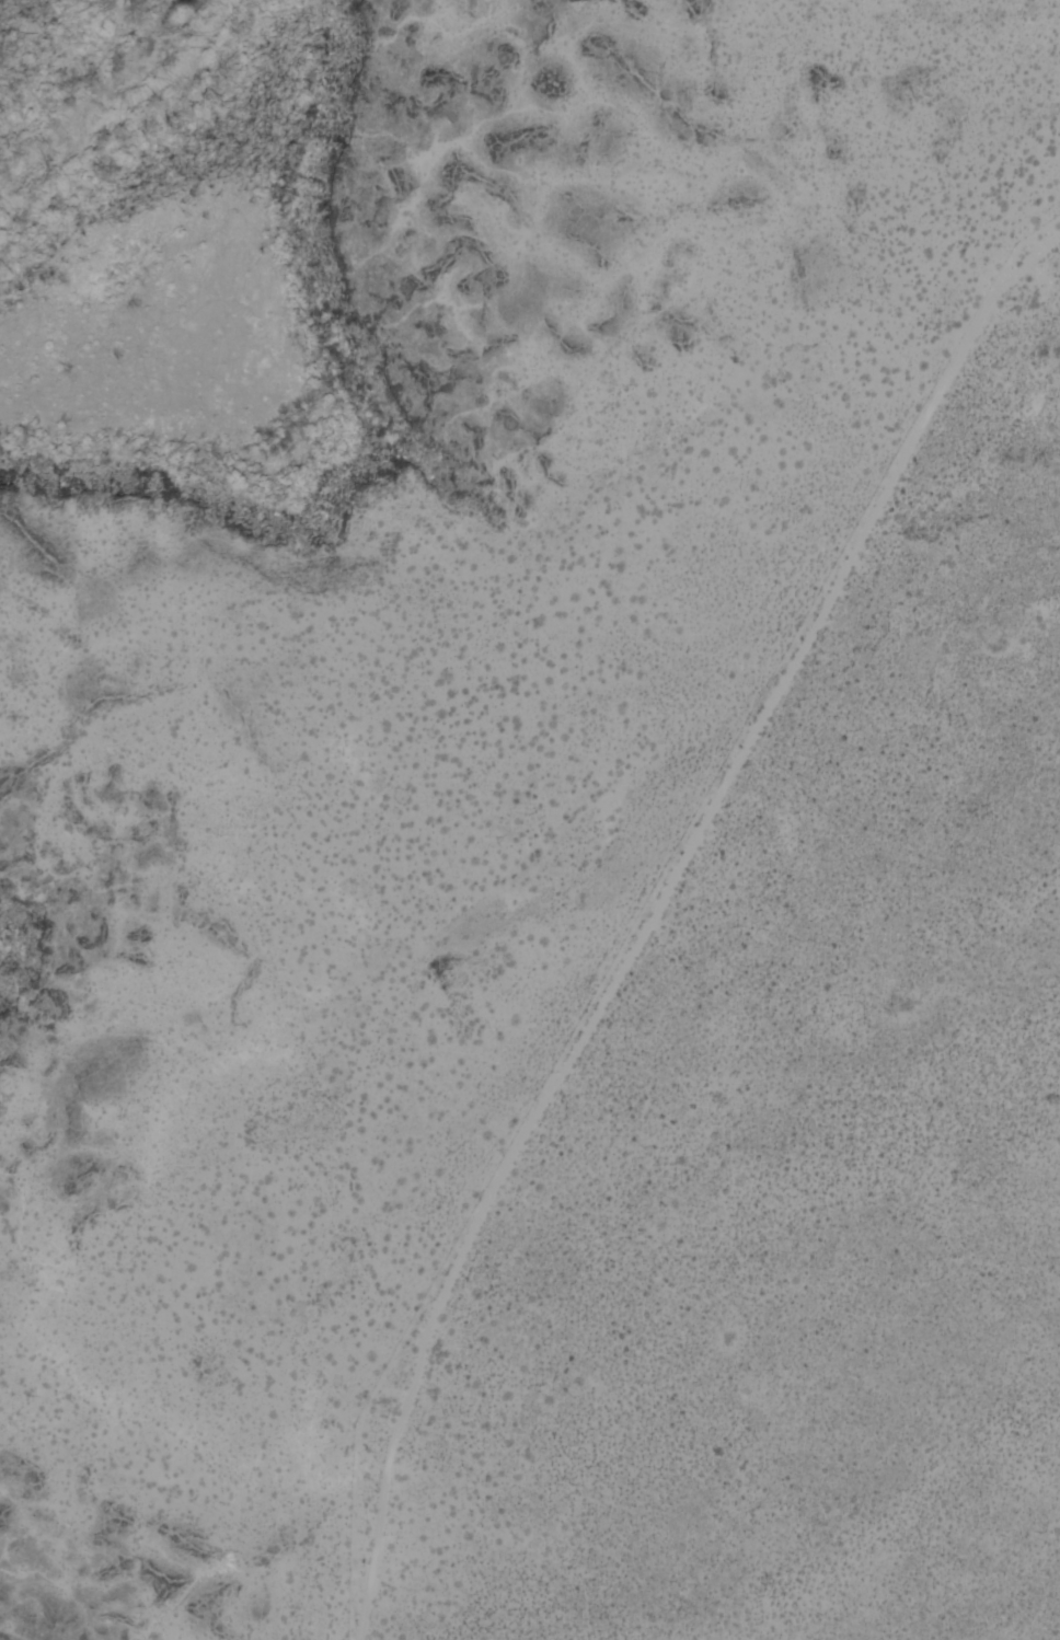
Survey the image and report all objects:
road: (648, 906)

